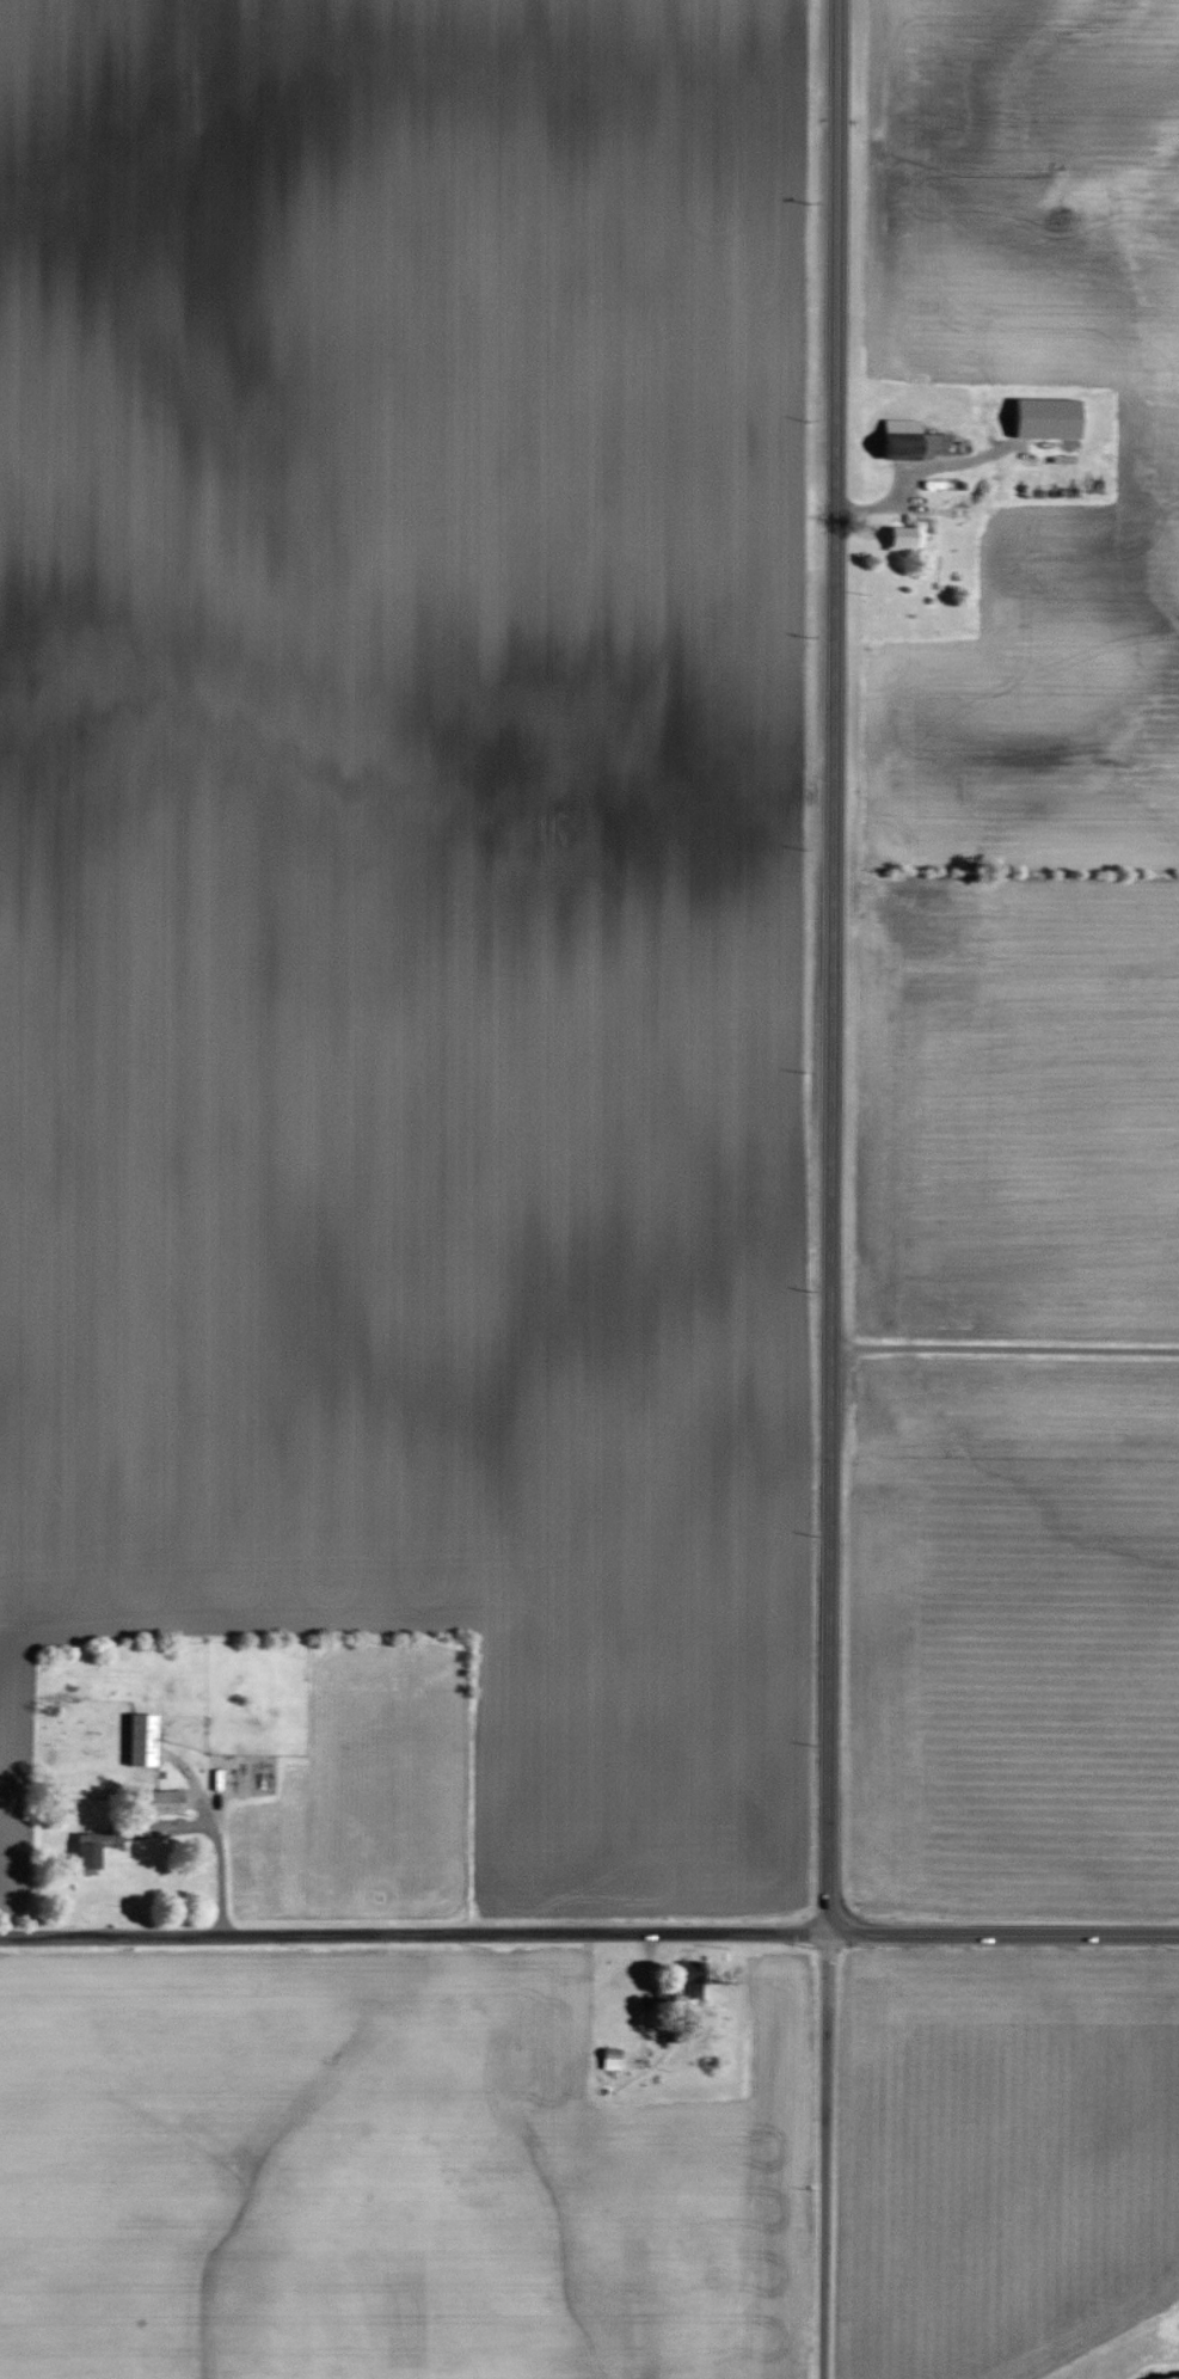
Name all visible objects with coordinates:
building: (1045, 419)
building: (907, 440)
building: (903, 536)
road: (831, 967)
road: (1003, 1349)
building: (141, 1741)
building: (159, 1802)
road: (216, 1837)
building: (88, 1850)
road: (1002, 1936)
road: (412, 1937)
building: (690, 1978)
building: (610, 2059)
road: (823, 2157)

